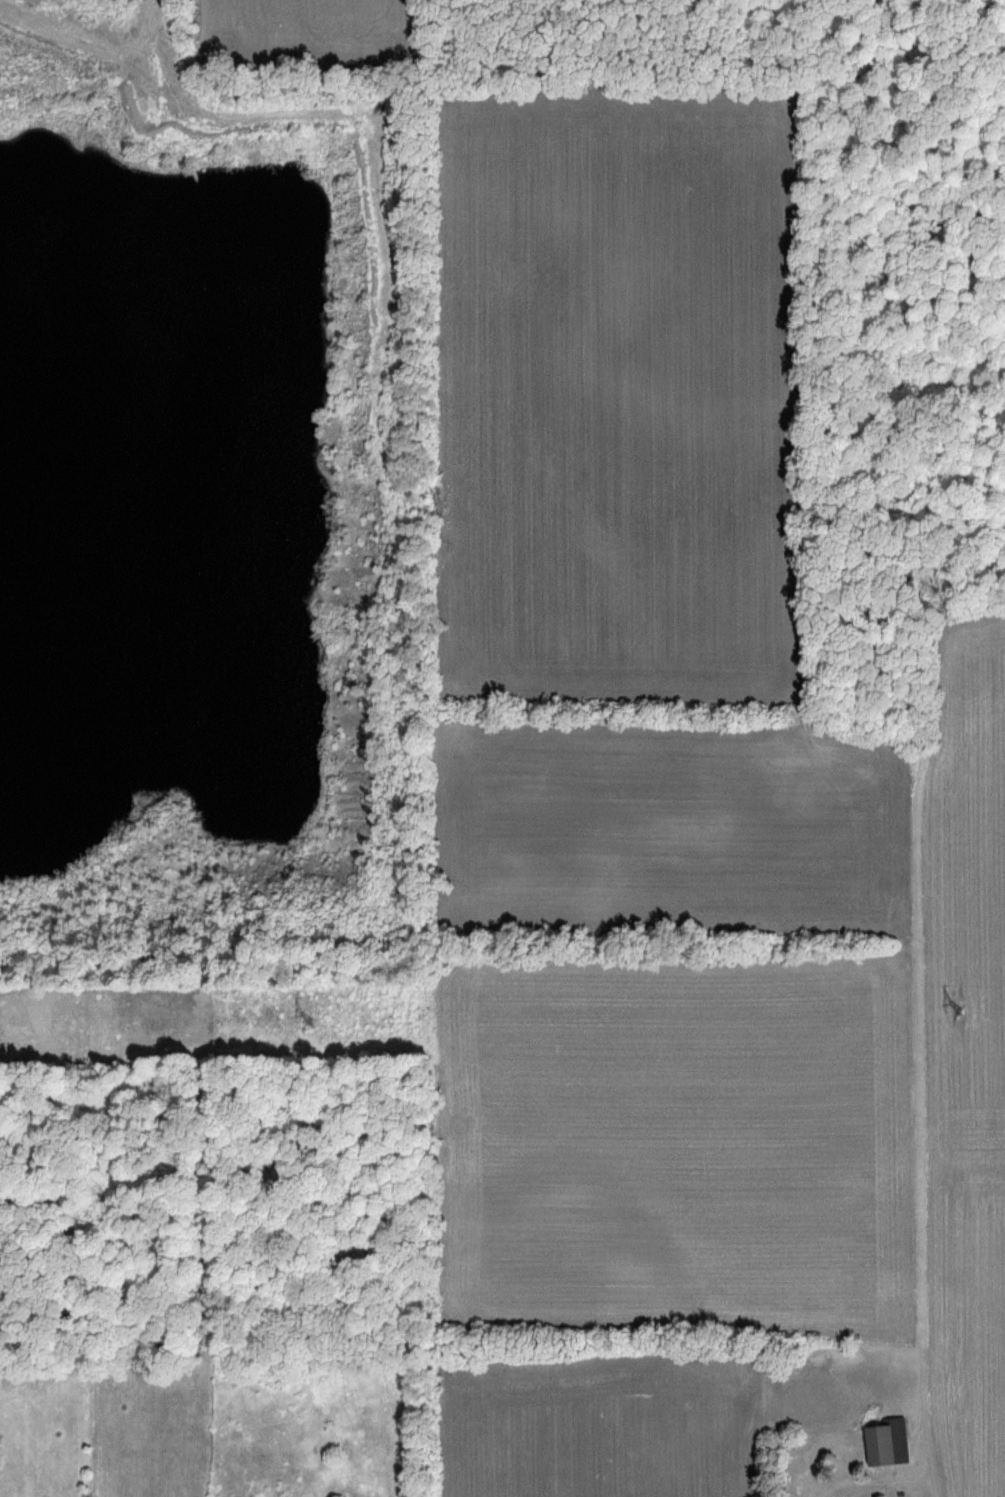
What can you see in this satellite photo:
building: (874, 1443)

